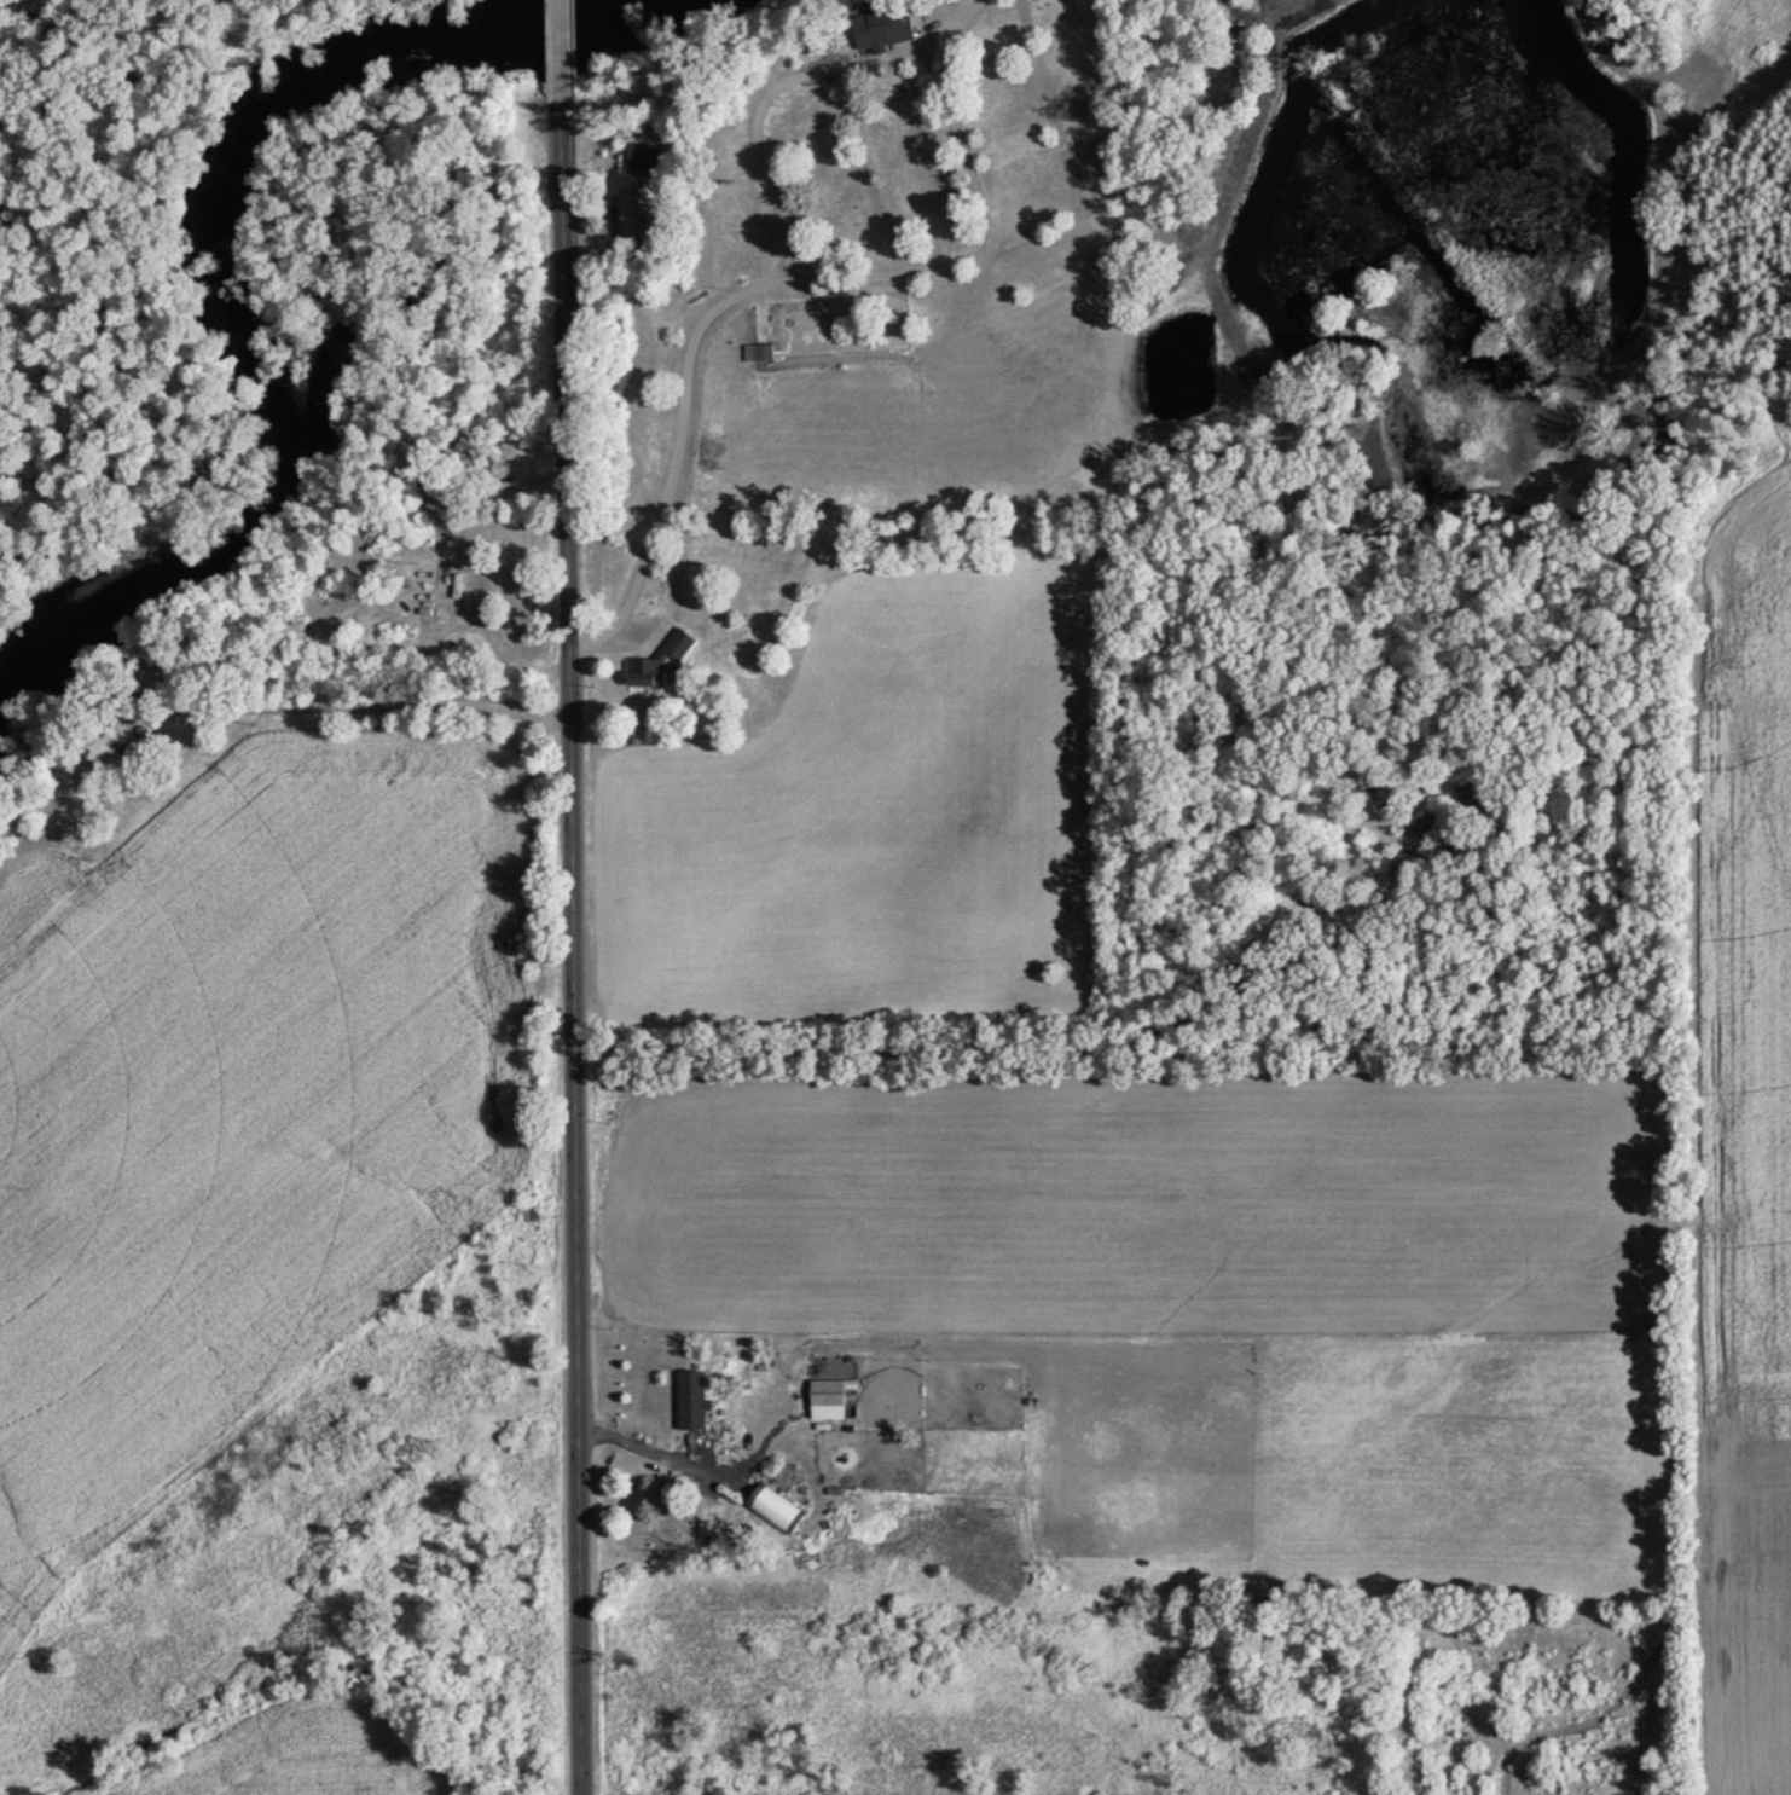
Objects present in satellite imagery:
road: (932, 13)
building: (882, 21)
road: (555, 44)
road: (776, 118)
road: (1010, 141)
building: (643, 161)
road: (908, 175)
building: (633, 216)
road: (1128, 236)
river: (228, 293)
road: (818, 315)
building: (763, 355)
road: (645, 456)
building: (294, 627)
building: (657, 665)
building: (104, 743)
building: (135, 758)
building: (1428, 827)
road: (568, 940)
building: (827, 1397)
building: (691, 1403)

